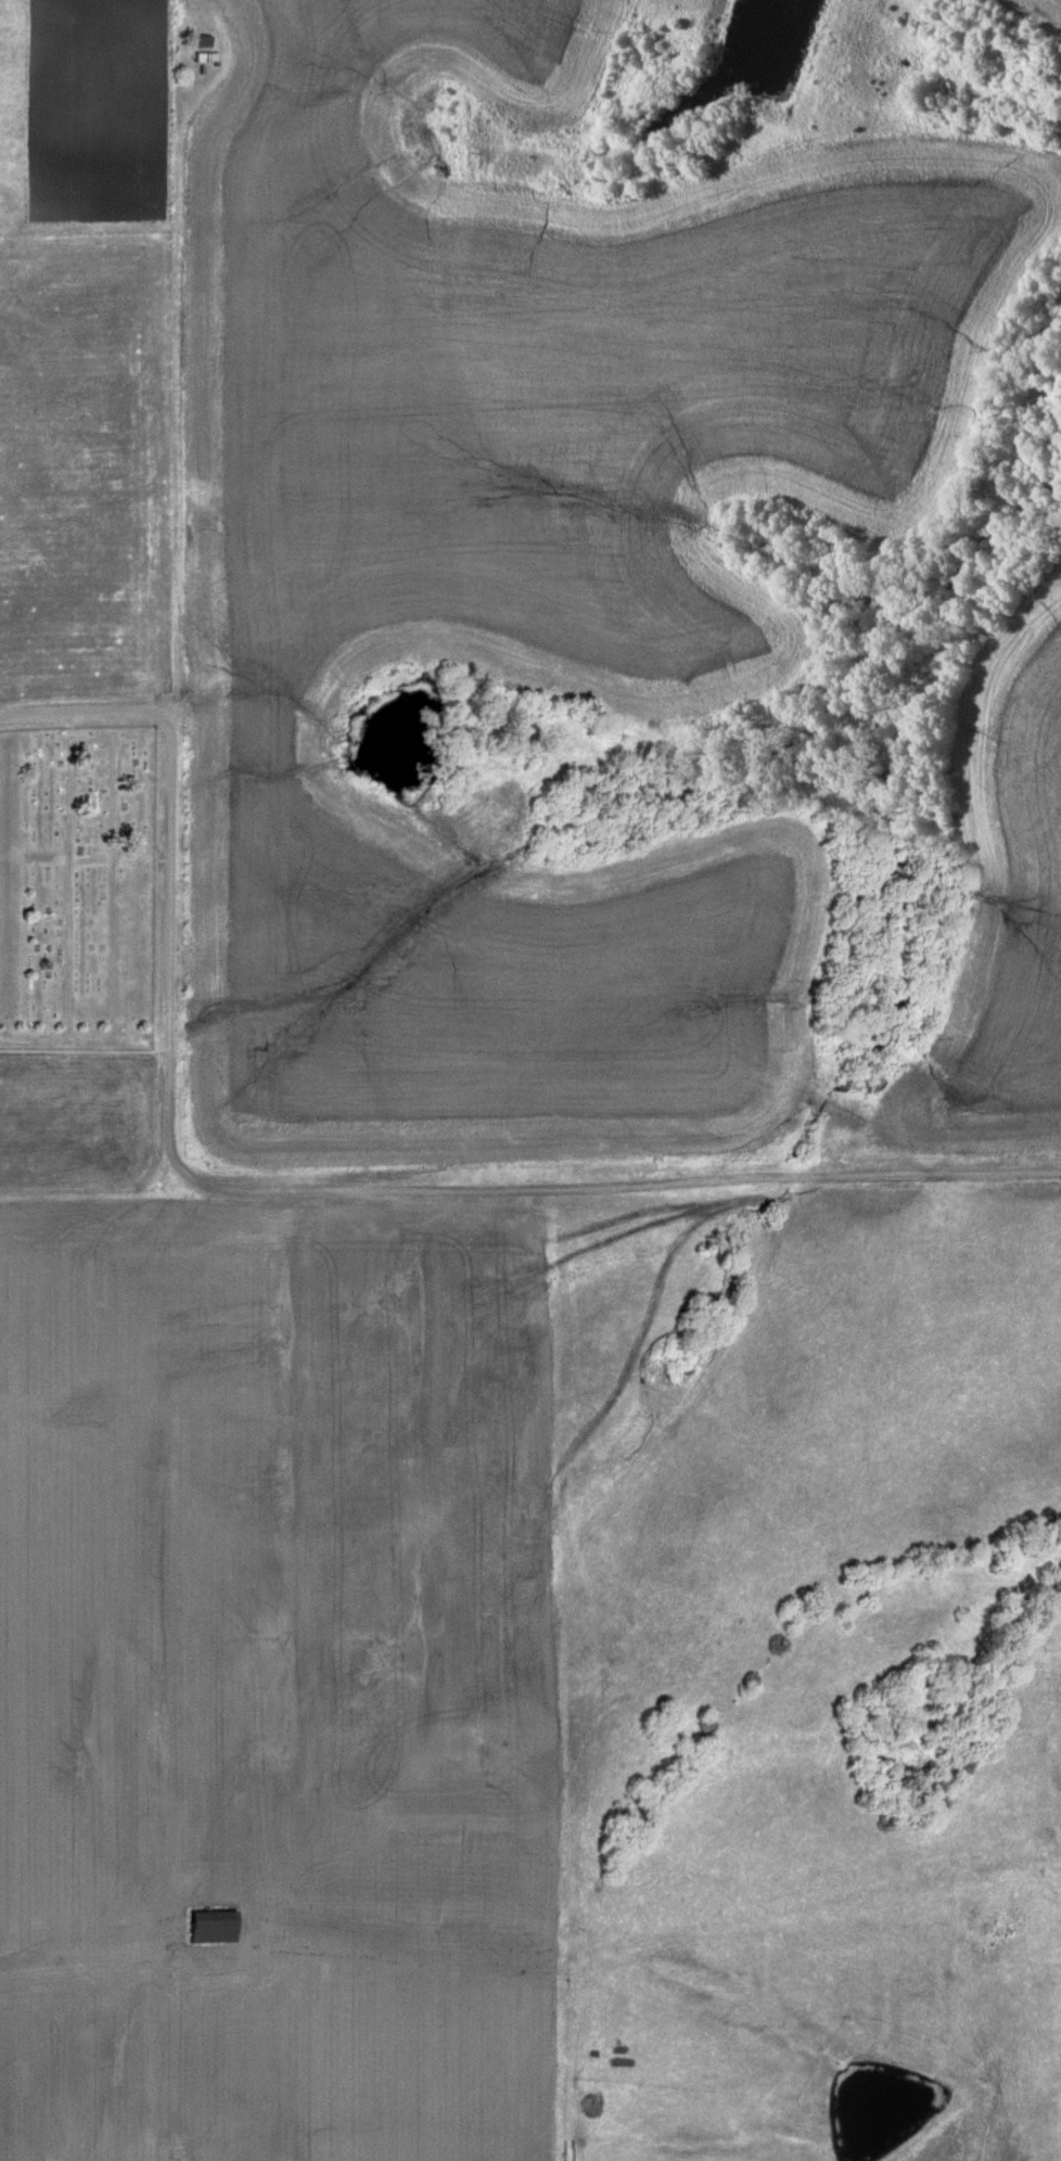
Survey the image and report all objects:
building: (201, 42)
building: (203, 57)
park: (76, 887)
road: (306, 1186)
building: (209, 1926)

